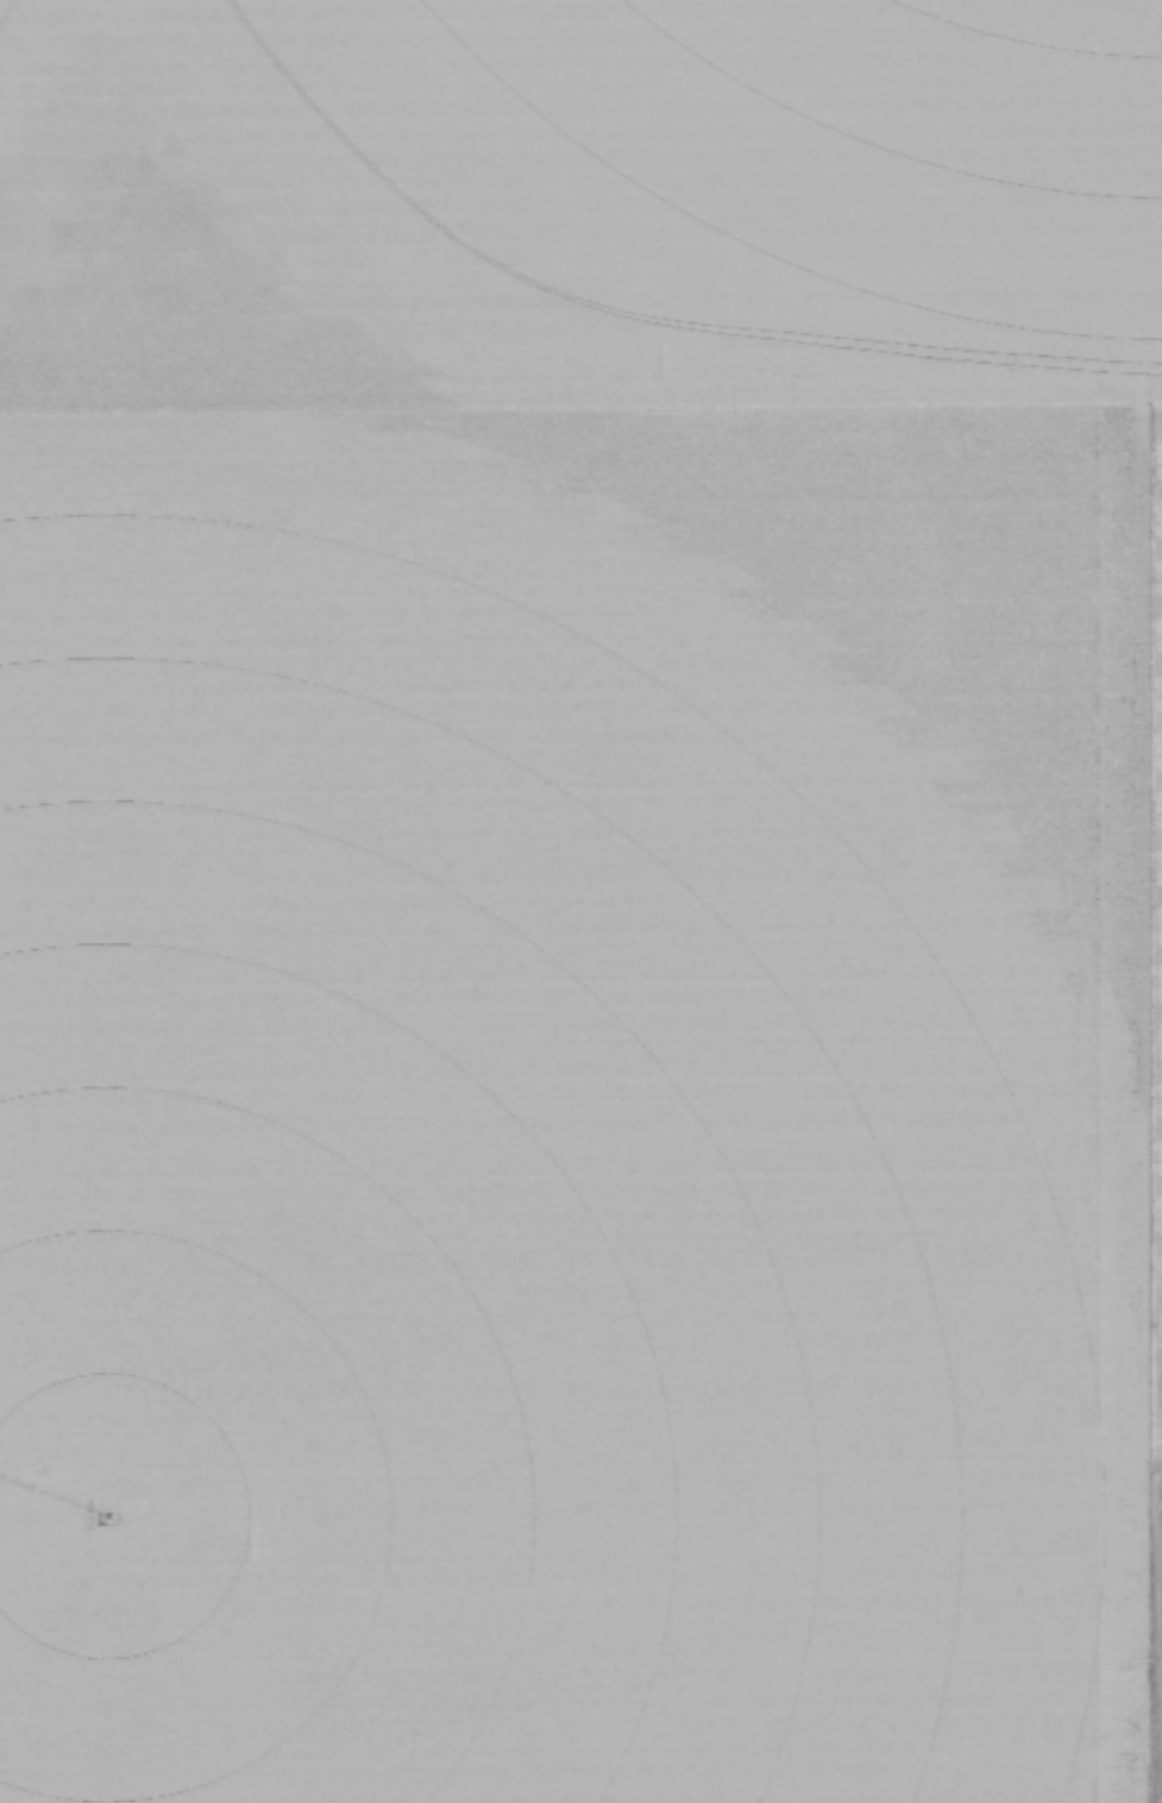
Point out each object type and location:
crop: (580, 901)

